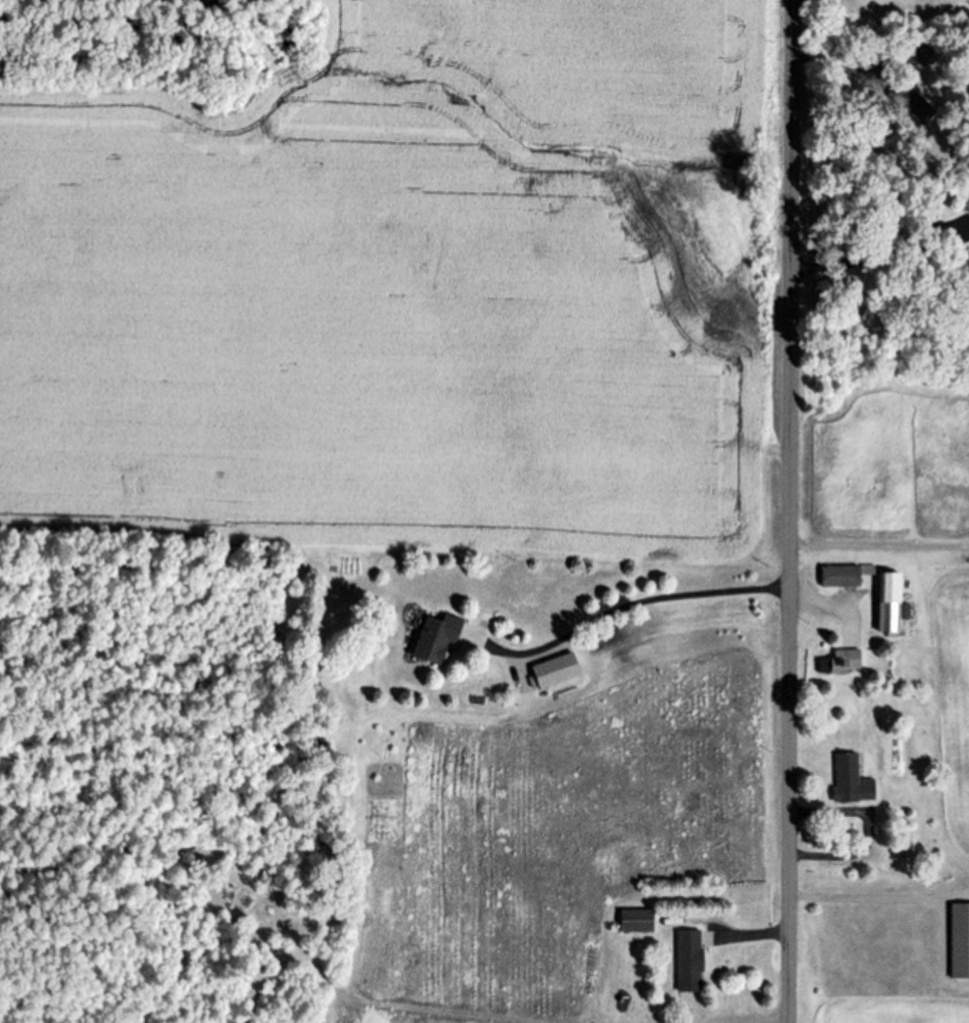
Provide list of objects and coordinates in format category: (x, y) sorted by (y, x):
building: (923, 54)
road: (830, 62)
road: (872, 262)
road: (794, 511)
road: (881, 545)
building: (844, 575)
road: (668, 596)
building: (891, 603)
building: (440, 637)
building: (844, 661)
building: (545, 669)
building: (854, 779)
road: (874, 830)
road: (867, 898)
building: (640, 920)
road: (759, 935)
building: (961, 939)
building: (692, 960)

